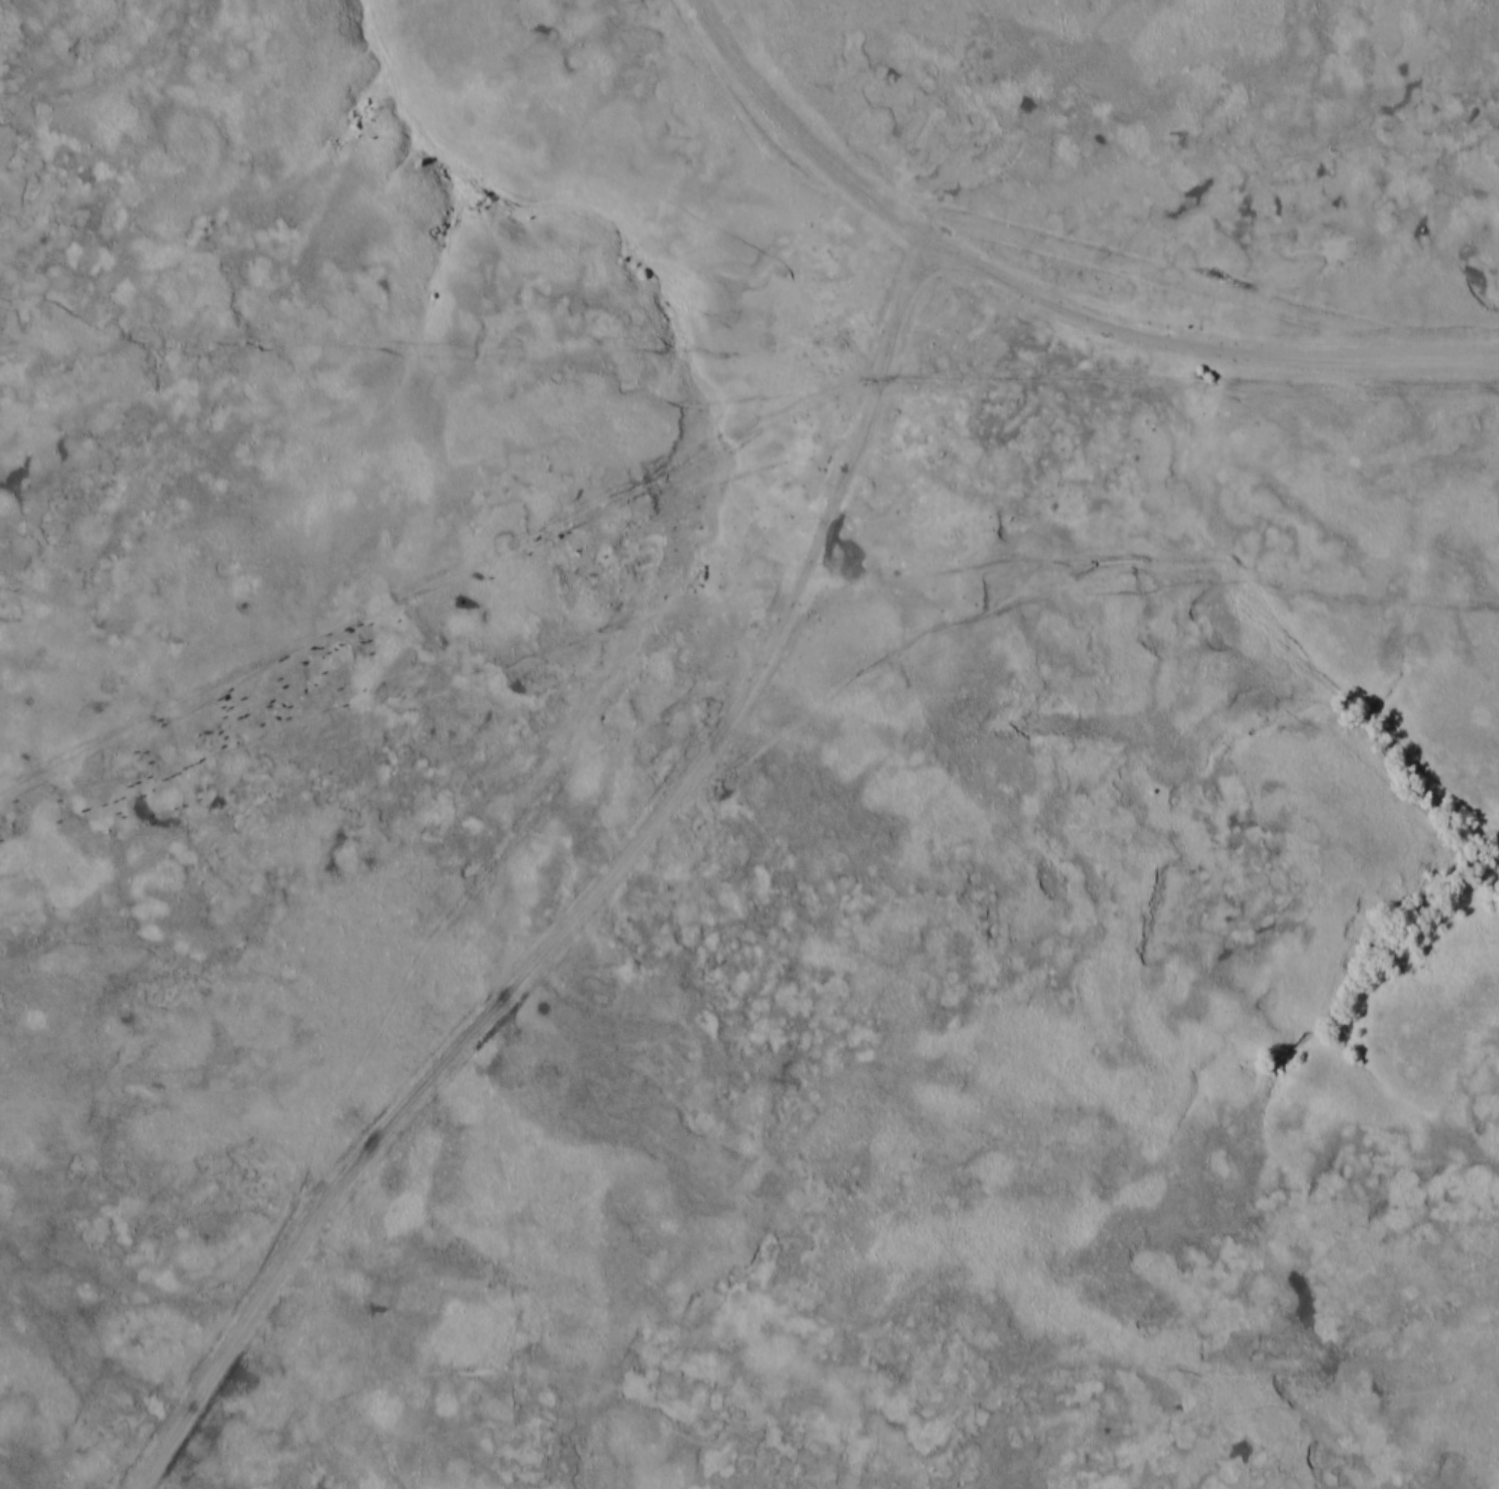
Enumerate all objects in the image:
road: (1042, 302)
road: (439, 580)
road: (594, 897)

